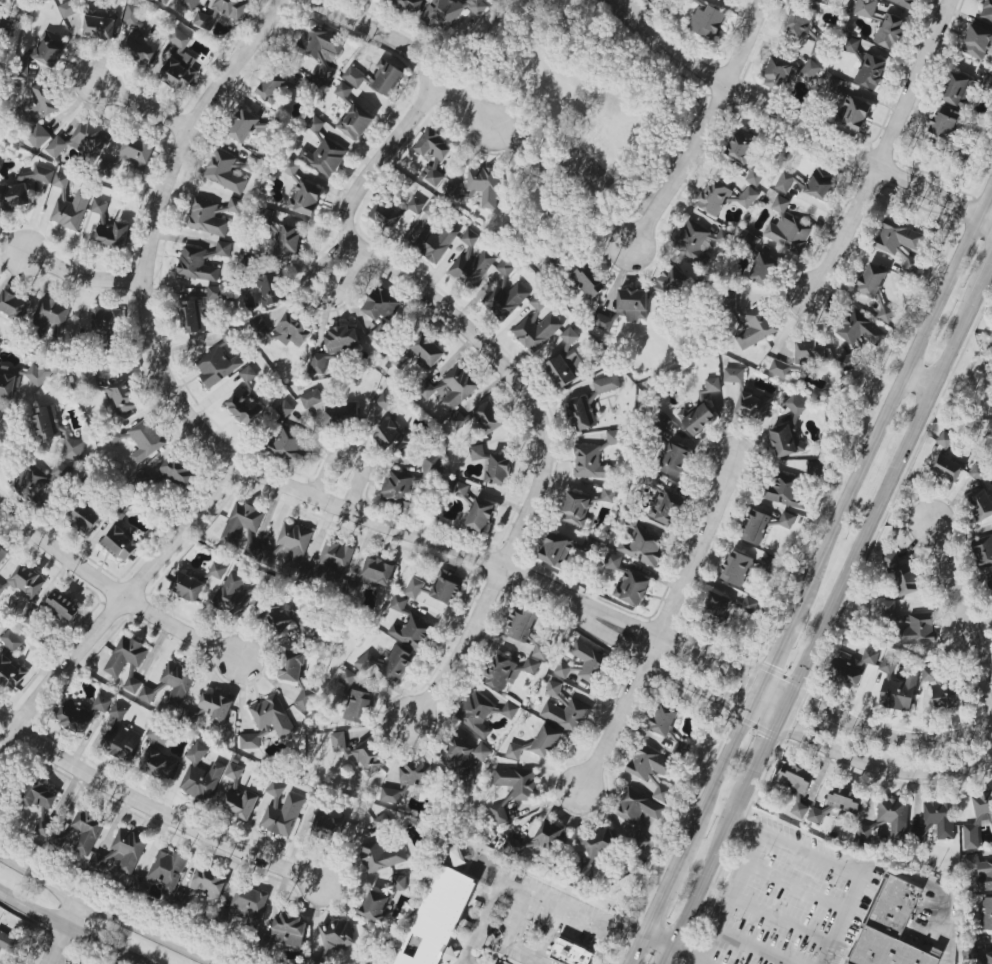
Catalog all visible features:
building: (165, 1)
building: (905, 3)
building: (190, 4)
building: (408, 5)
building: (69, 8)
building: (865, 8)
building: (987, 10)
building: (221, 12)
building: (449, 12)
building: (707, 21)
building: (800, 23)
building: (100, 24)
building: (134, 31)
building: (889, 31)
road: (387, 36)
building: (977, 42)
building: (852, 45)
building: (819, 46)
building: (50, 49)
building: (320, 51)
building: (180, 63)
building: (810, 70)
building: (871, 71)
building: (777, 74)
building: (354, 76)
building: (385, 78)
building: (835, 85)
building: (271, 88)
building: (343, 90)
building: (958, 90)
road: (468, 98)
building: (41, 101)
road: (142, 103)
building: (853, 114)
building: (355, 122)
building: (944, 122)
building: (315, 124)
building: (244, 127)
road: (797, 128)
road: (704, 129)
building: (37, 136)
building: (89, 138)
building: (56, 147)
road: (887, 149)
building: (745, 153)
building: (132, 154)
building: (433, 155)
building: (323, 157)
building: (251, 164)
building: (224, 172)
building: (61, 180)
building: (785, 182)
building: (821, 184)
building: (484, 185)
building: (23, 187)
building: (747, 197)
building: (714, 198)
building: (235, 205)
building: (416, 205)
building: (432, 209)
building: (71, 210)
building: (386, 215)
building: (209, 218)
building: (109, 227)
road: (155, 227)
building: (787, 228)
building: (470, 237)
building: (898, 237)
building: (436, 240)
building: (285, 241)
building: (698, 241)
building: (223, 249)
building: (197, 263)
building: (507, 265)
building: (912, 265)
building: (472, 268)
building: (763, 270)
road: (84, 274)
building: (675, 278)
building: (872, 280)
building: (588, 281)
building: (272, 288)
road: (312, 293)
building: (505, 300)
building: (539, 302)
building: (13, 305)
building: (381, 308)
building: (626, 308)
building: (199, 310)
building: (886, 312)
building: (50, 313)
building: (106, 322)
building: (755, 328)
building: (261, 329)
building: (294, 329)
building: (860, 329)
building: (536, 331)
building: (991, 331)
building: (335, 346)
building: (809, 351)
building: (427, 352)
building: (565, 362)
building: (217, 366)
building: (779, 368)
building: (39, 373)
building: (734, 375)
road: (516, 377)
building: (8, 382)
building: (607, 384)
building: (712, 385)
building: (458, 387)
building: (429, 389)
building: (245, 398)
building: (311, 398)
building: (123, 399)
building: (387, 402)
building: (753, 405)
building: (795, 405)
building: (284, 409)
building: (581, 413)
building: (342, 414)
building: (698, 418)
building: (46, 422)
road: (10, 437)
building: (392, 438)
building: (614, 439)
building: (146, 440)
building: (945, 440)
building: (785, 441)
building: (289, 448)
building: (73, 449)
building: (477, 453)
road: (350, 456)
building: (675, 460)
building: (590, 462)
building: (947, 468)
building: (499, 470)
building: (178, 471)
building: (979, 472)
building: (41, 479)
building: (411, 484)
building: (461, 489)
building: (785, 491)
building: (980, 502)
building: (584, 504)
building: (666, 507)
building: (480, 515)
building: (83, 518)
building: (787, 520)
building: (756, 526)
building: (244, 527)
building: (121, 543)
building: (289, 546)
building: (643, 546)
building: (555, 549)
building: (982, 550)
building: (3, 554)
road: (817, 558)
building: (770, 565)
building: (736, 568)
building: (217, 570)
road: (515, 573)
building: (376, 574)
building: (903, 575)
building: (25, 581)
building: (628, 582)
building: (989, 585)
building: (187, 586)
building: (447, 587)
building: (414, 588)
road: (115, 590)
building: (398, 603)
building: (750, 604)
building: (63, 606)
road: (119, 607)
building: (719, 607)
building: (888, 609)
road: (960, 610)
road: (827, 615)
building: (285, 620)
building: (521, 624)
building: (412, 632)
road: (659, 632)
building: (916, 632)
building: (10, 639)
building: (540, 651)
building: (126, 655)
building: (870, 657)
building: (366, 662)
building: (397, 664)
building: (584, 664)
building: (531, 666)
building: (888, 666)
building: (293, 667)
building: (11, 672)
building: (502, 673)
building: (348, 678)
building: (177, 682)
building: (132, 684)
building: (553, 688)
building: (943, 689)
traffic signals: (754, 693)
building: (147, 694)
building: (898, 694)
building: (305, 698)
building: (102, 703)
building: (357, 706)
building: (216, 707)
traffic signals: (784, 707)
building: (509, 710)
building: (117, 711)
building: (477, 713)
building: (567, 714)
building: (74, 717)
building: (663, 720)
building: (267, 722)
building: (159, 735)
building: (338, 741)
building: (546, 741)
building: (121, 742)
building: (514, 751)
road: (884, 751)
building: (464, 753)
building: (370, 756)
building: (649, 763)
building: (158, 765)
road: (881, 767)
building: (200, 775)
building: (415, 775)
building: (516, 782)
building: (796, 786)
building: (662, 793)
building: (238, 794)
building: (38, 795)
building: (390, 795)
building: (844, 800)
road: (159, 805)
building: (282, 810)
building: (498, 815)
building: (638, 815)
building: (815, 815)
building: (894, 816)
building: (941, 818)
building: (978, 819)
building: (383, 822)
building: (327, 827)
building: (44, 828)
building: (88, 831)
building: (864, 832)
building: (539, 841)
building: (600, 843)
building: (123, 854)
building: (381, 855)
road: (839, 864)
building: (979, 872)
building: (399, 882)
building: (208, 885)
road: (534, 885)
road: (797, 886)
road: (731, 897)
parking lot: (785, 900)
building: (248, 904)
building: (374, 905)
road: (106, 912)
building: (985, 915)
building: (440, 916)
road: (781, 920)
building: (891, 928)
road: (69, 929)
road: (60, 930)
building: (288, 930)
building: (337, 935)
road: (660, 936)
road: (637, 947)
building: (8, 948)
building: (570, 953)
road: (693, 953)
building: (987, 958)
building: (75, 963)

